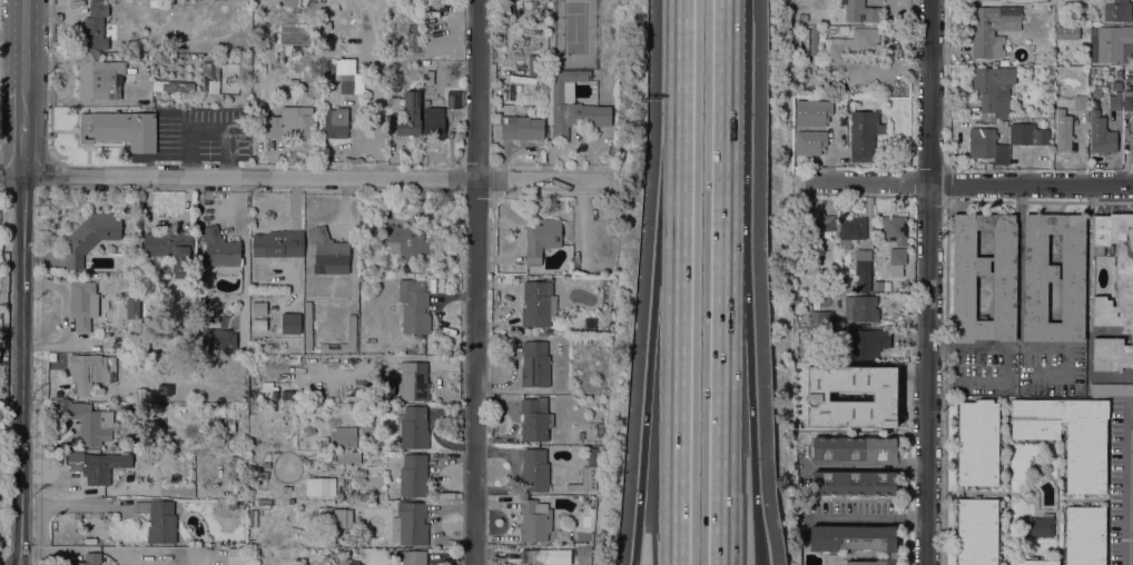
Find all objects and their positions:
building: (295, 2)
building: (154, 4)
building: (1117, 10)
building: (859, 11)
building: (802, 18)
building: (98, 27)
building: (832, 29)
building: (992, 29)
building: (1065, 31)
building: (500, 32)
park: (574, 34)
building: (295, 37)
building: (415, 37)
building: (814, 41)
building: (854, 42)
road: (23, 44)
building: (1111, 44)
building: (201, 48)
building: (233, 49)
road: (678, 50)
building: (243, 57)
building: (138, 58)
building: (995, 63)
building: (535, 66)
building: (1050, 71)
building: (210, 73)
building: (349, 77)
building: (101, 78)
building: (428, 78)
building: (173, 86)
building: (1115, 86)
road: (50, 88)
building: (426, 90)
building: (993, 90)
building: (452, 92)
building: (1127, 100)
building: (1114, 101)
building: (1080, 102)
building: (393, 105)
building: (571, 105)
road: (23, 106)
building: (410, 115)
road: (722, 120)
building: (434, 122)
building: (290, 123)
building: (335, 123)
building: (521, 128)
building: (119, 130)
road: (209, 131)
building: (1063, 131)
building: (861, 135)
building: (1101, 135)
parking lot: (199, 136)
building: (1023, 137)
building: (1041, 137)
building: (982, 142)
road: (23, 149)
road: (11, 177)
road: (322, 179)
road: (963, 184)
building: (820, 225)
building: (894, 229)
building: (850, 230)
building: (90, 237)
building: (541, 239)
building: (406, 242)
building: (278, 244)
building: (219, 248)
building: (170, 250)
building: (328, 252)
building: (896, 256)
building: (810, 267)
building: (863, 270)
building: (1053, 278)
road: (475, 282)
road: (928, 282)
building: (797, 287)
building: (1114, 293)
building: (796, 297)
building: (1003, 297)
building: (259, 299)
building: (536, 304)
building: (81, 305)
building: (414, 307)
building: (132, 308)
building: (860, 308)
road: (653, 317)
building: (821, 319)
building: (290, 323)
building: (307, 326)
building: (352, 329)
road: (677, 333)
building: (217, 339)
building: (577, 340)
building: (587, 340)
building: (865, 344)
road: (748, 348)
road: (1029, 348)
building: (535, 365)
building: (214, 369)
road: (21, 370)
building: (836, 370)
building: (87, 371)
building: (233, 378)
building: (414, 381)
road: (984, 383)
building: (875, 384)
building: (1111, 389)
building: (363, 395)
building: (243, 397)
road: (720, 403)
building: (266, 407)
building: (180, 408)
building: (535, 419)
building: (91, 424)
building: (226, 424)
building: (367, 425)
building: (414, 428)
building: (309, 430)
building: (343, 436)
building: (1067, 436)
building: (978, 443)
building: (854, 448)
building: (592, 455)
building: (332, 457)
building: (348, 457)
building: (100, 466)
building: (276, 466)
road: (867, 466)
building: (231, 470)
building: (534, 472)
building: (413, 476)
building: (584, 482)
building: (854, 483)
road: (1129, 485)
building: (319, 486)
building: (286, 489)
building: (265, 503)
building: (235, 505)
road: (753, 511)
building: (325, 514)
building: (77, 515)
building: (102, 516)
building: (252, 518)
building: (343, 518)
road: (867, 519)
building: (158, 521)
building: (534, 521)
building: (410, 524)
building: (1036, 527)
building: (977, 532)
building: (1084, 535)
building: (854, 541)
building: (250, 542)
road: (636, 549)
building: (583, 551)
building: (563, 552)
building: (337, 555)
building: (235, 556)
building: (411, 557)
building: (534, 557)
building: (88, 559)
building: (352, 562)
building: (1033, 562)
road: (756, 563)

